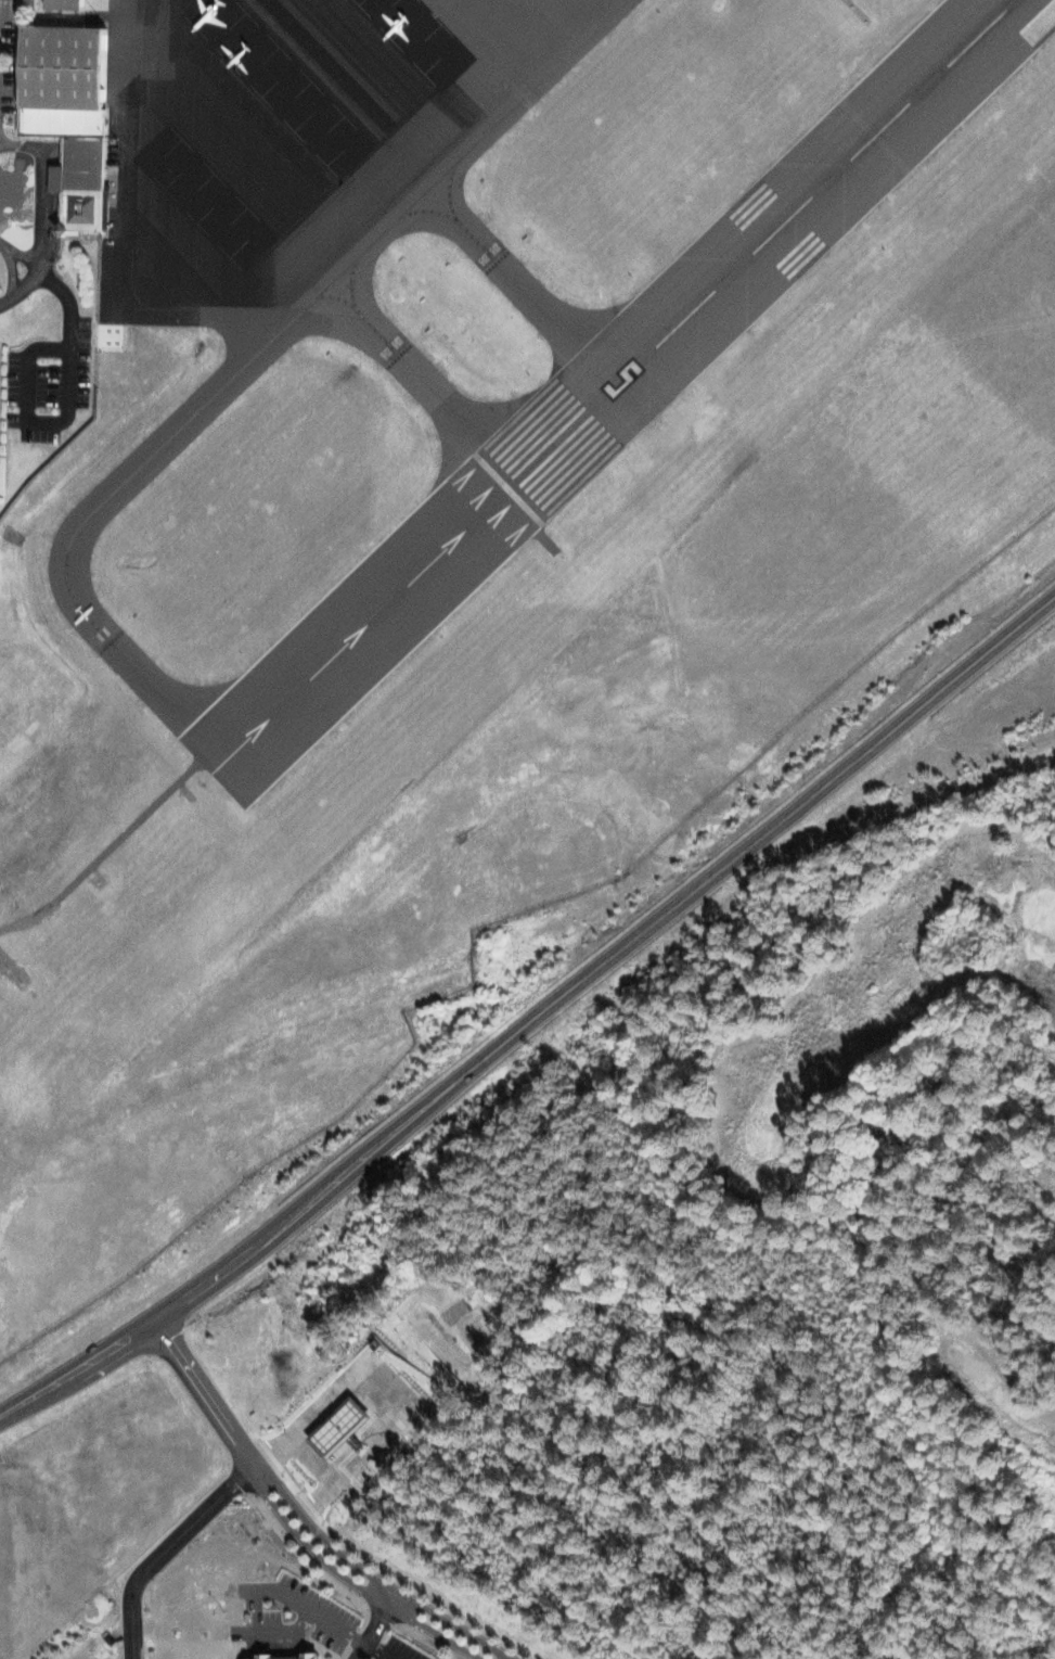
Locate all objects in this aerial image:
building: (67, 3)
airport terminal: (61, 79)
building: (61, 79)
airport taxiway: (525, 93)
airport apron: (255, 130)
airport hangar: (83, 163)
building: (83, 163)
airport taxiway: (448, 187)
road: (46, 200)
airport taxiway: (428, 209)
building: (82, 210)
airport runway: (763, 240)
road: (10, 265)
airport taxiway: (350, 282)
airport taxiway: (520, 286)
road: (9, 293)
airport taxiway: (375, 331)
airport taxiway: (609, 334)
parking lot: (48, 383)
airport taxiway: (503, 431)
airport: (453, 519)
airport taxiway: (124, 658)
road: (532, 1004)
park: (767, 1144)
road: (203, 1396)
road: (162, 1549)
road: (371, 1590)
road: (391, 1598)
road: (420, 1607)
road: (371, 1629)
road: (377, 1650)
building: (290, 1656)
building: (253, 1657)

